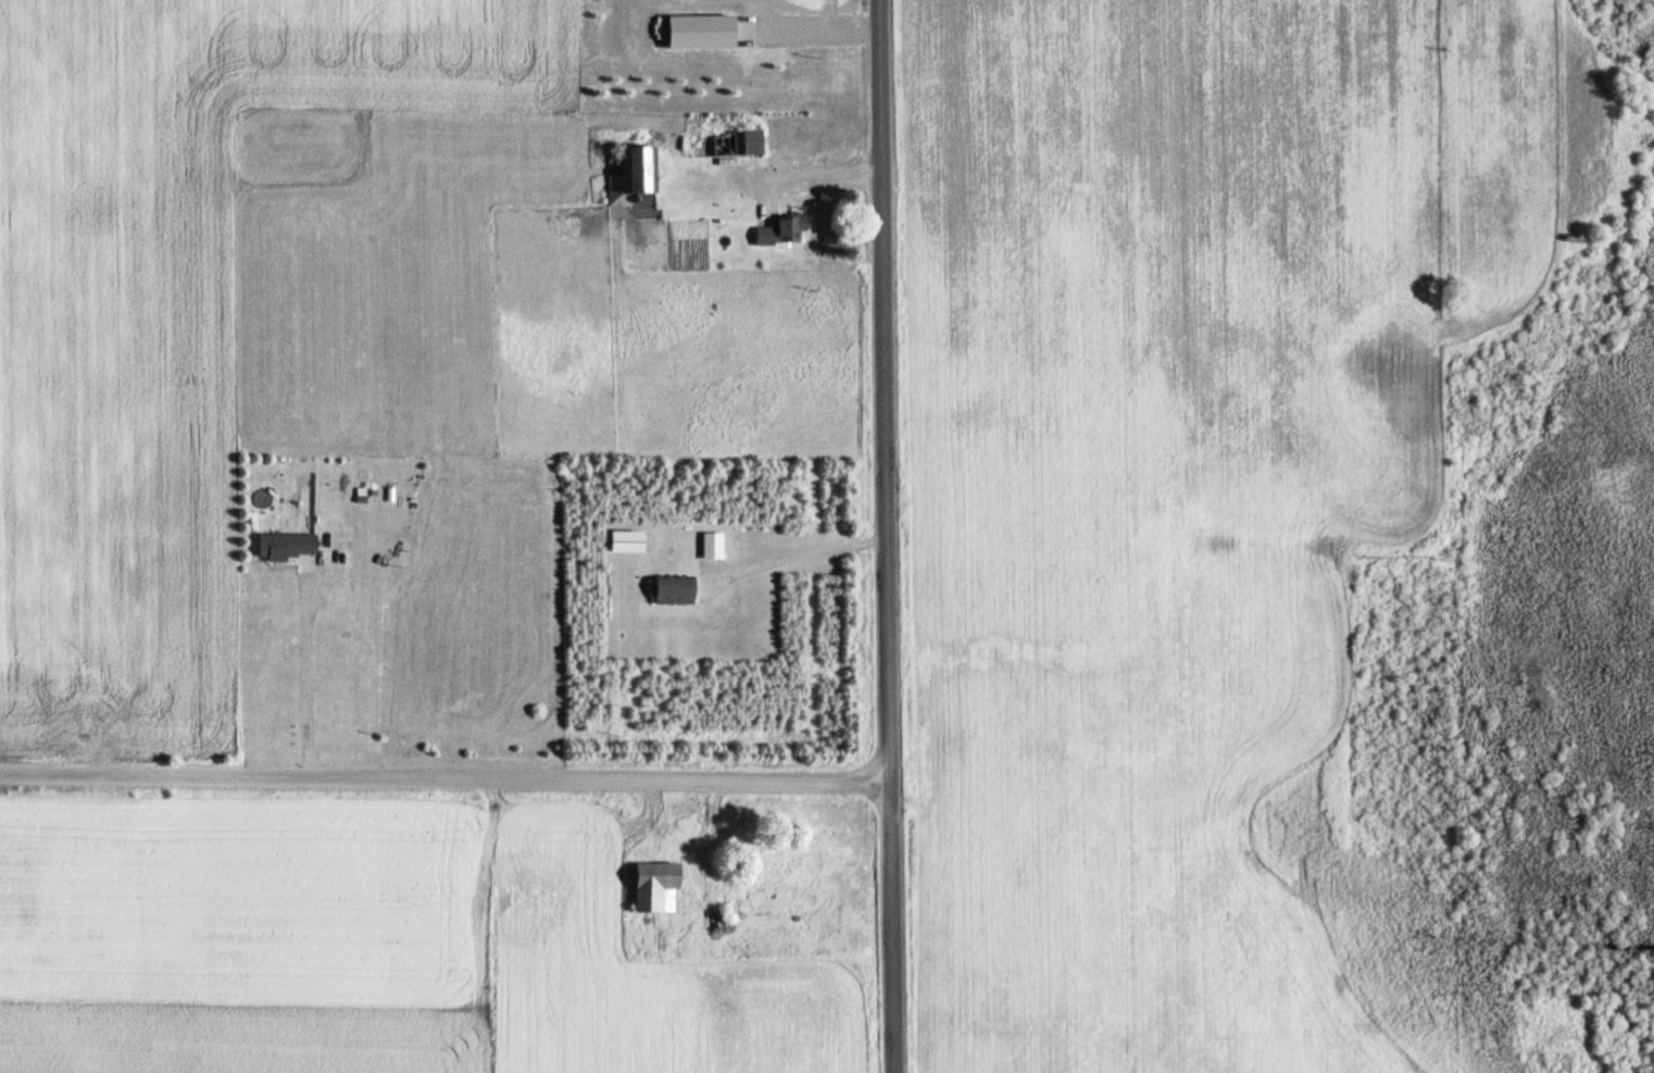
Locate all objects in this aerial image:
building: (778, 71)
building: (752, 141)
building: (723, 144)
building: (627, 174)
building: (781, 229)
road: (888, 536)
building: (286, 545)
building: (712, 546)
building: (673, 590)
road: (446, 776)
building: (654, 887)

